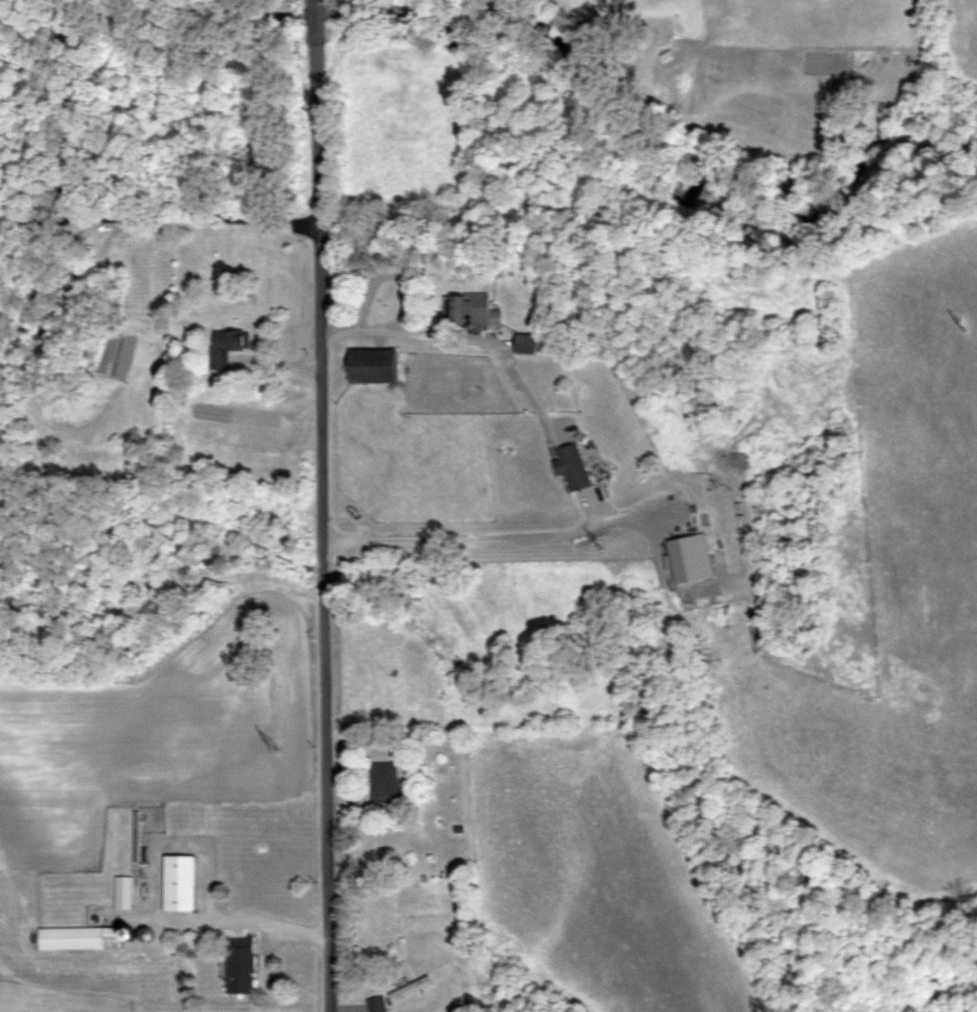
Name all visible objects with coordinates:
road: (159, 219)
building: (467, 313)
power tower: (966, 320)
road: (455, 333)
building: (524, 344)
building: (226, 349)
building: (373, 368)
building: (573, 466)
road: (320, 506)
road: (483, 535)
building: (384, 782)
building: (179, 882)
building: (123, 898)
road: (227, 916)
building: (82, 937)
building: (240, 964)
building: (410, 989)
building: (377, 1004)

